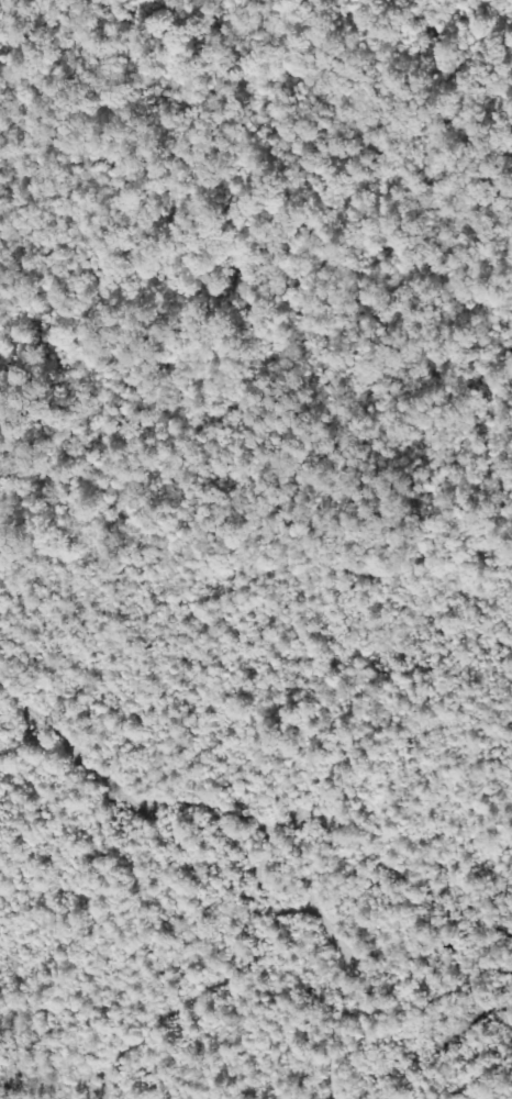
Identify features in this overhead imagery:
road: (324, 922)

